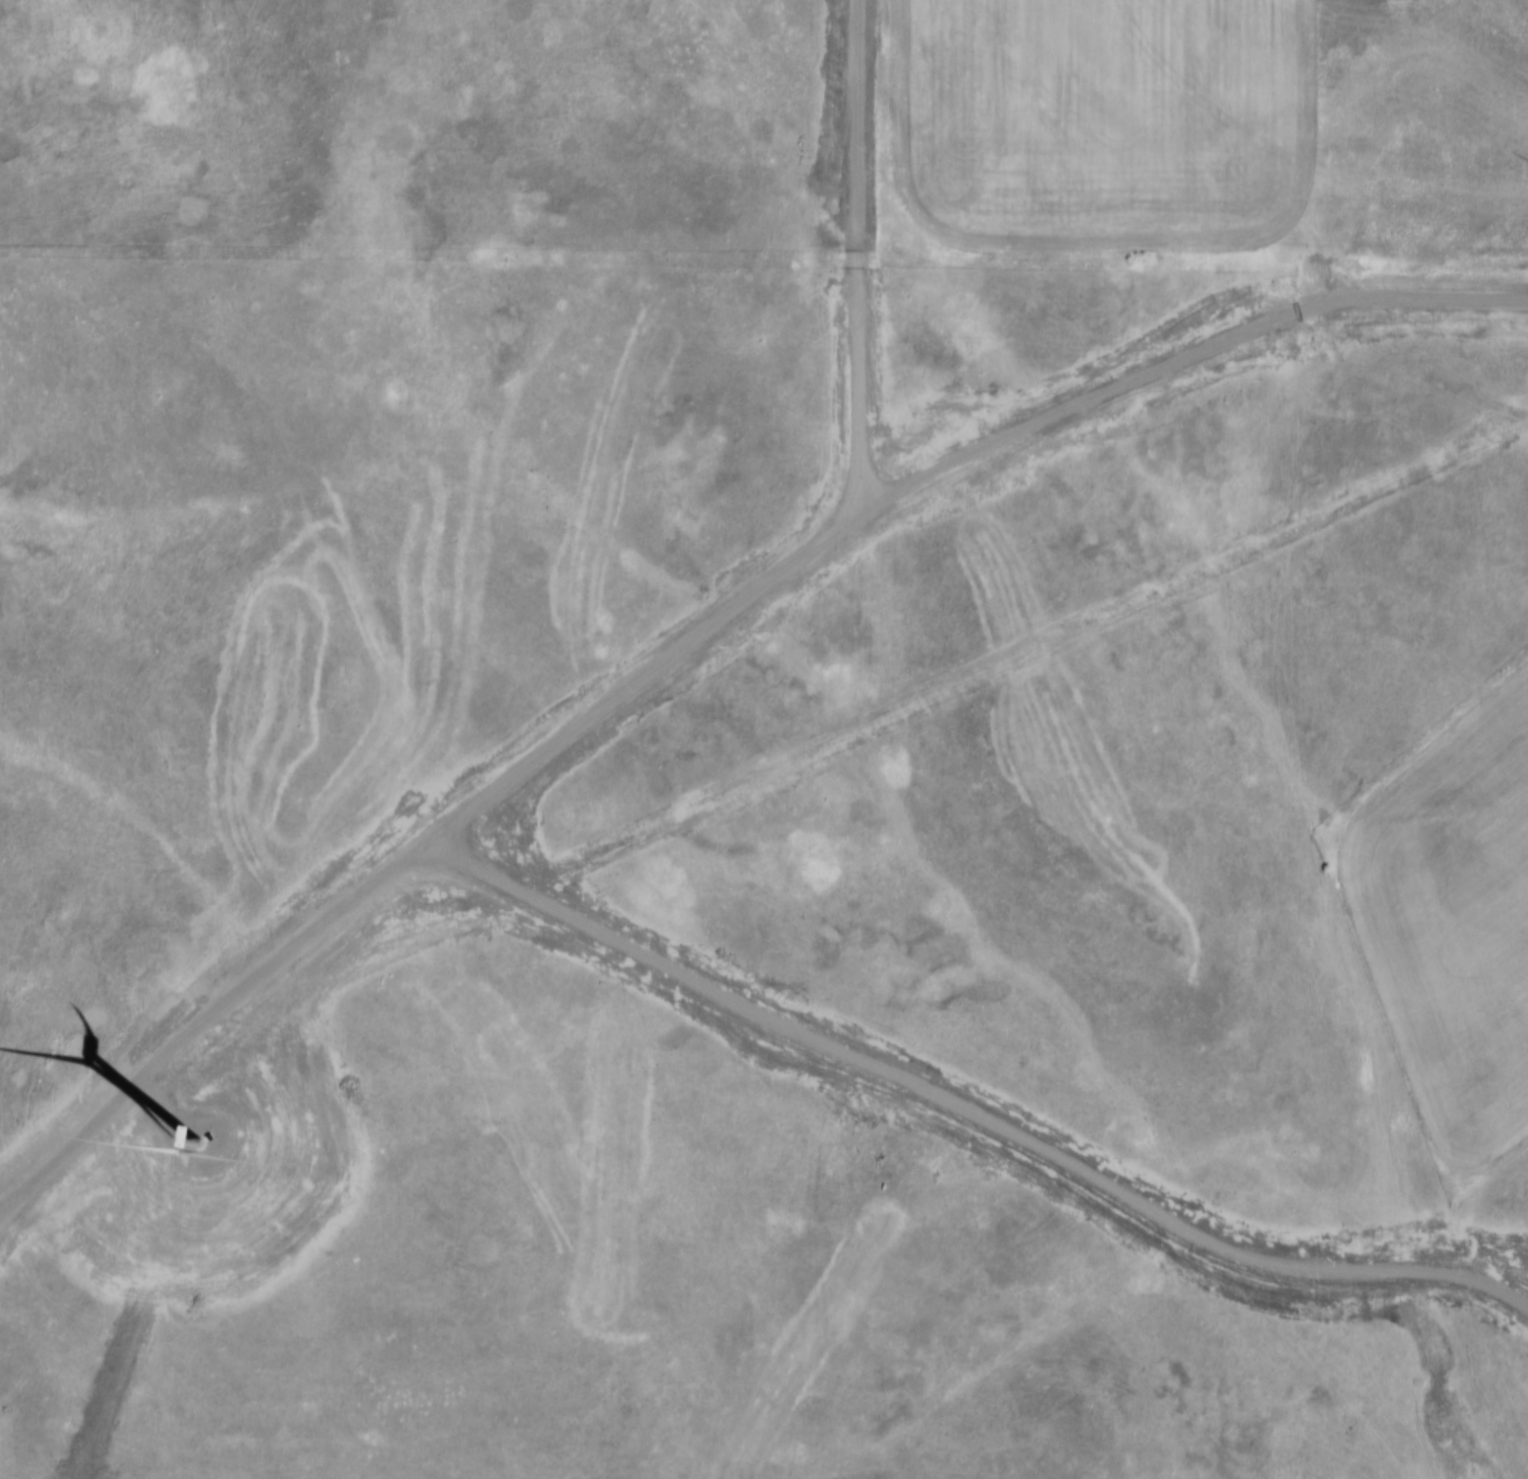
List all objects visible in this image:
road: (869, 278)
road: (717, 651)
wind turbine: (184, 1112)
road: (970, 1128)

